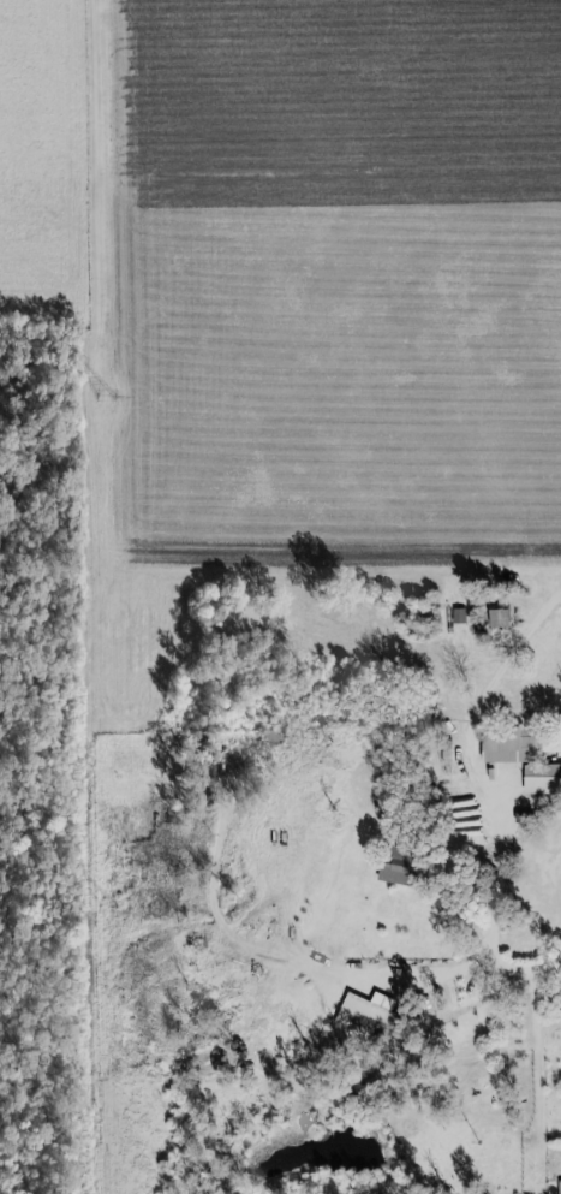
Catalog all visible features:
power tower: (107, 396)
building: (460, 617)
building: (506, 619)
road: (507, 664)
building: (273, 737)
building: (517, 747)
building: (544, 780)
building: (401, 869)
power tower: (114, 914)
road: (515, 970)
road: (326, 975)
building: (372, 1017)
road: (535, 1055)

